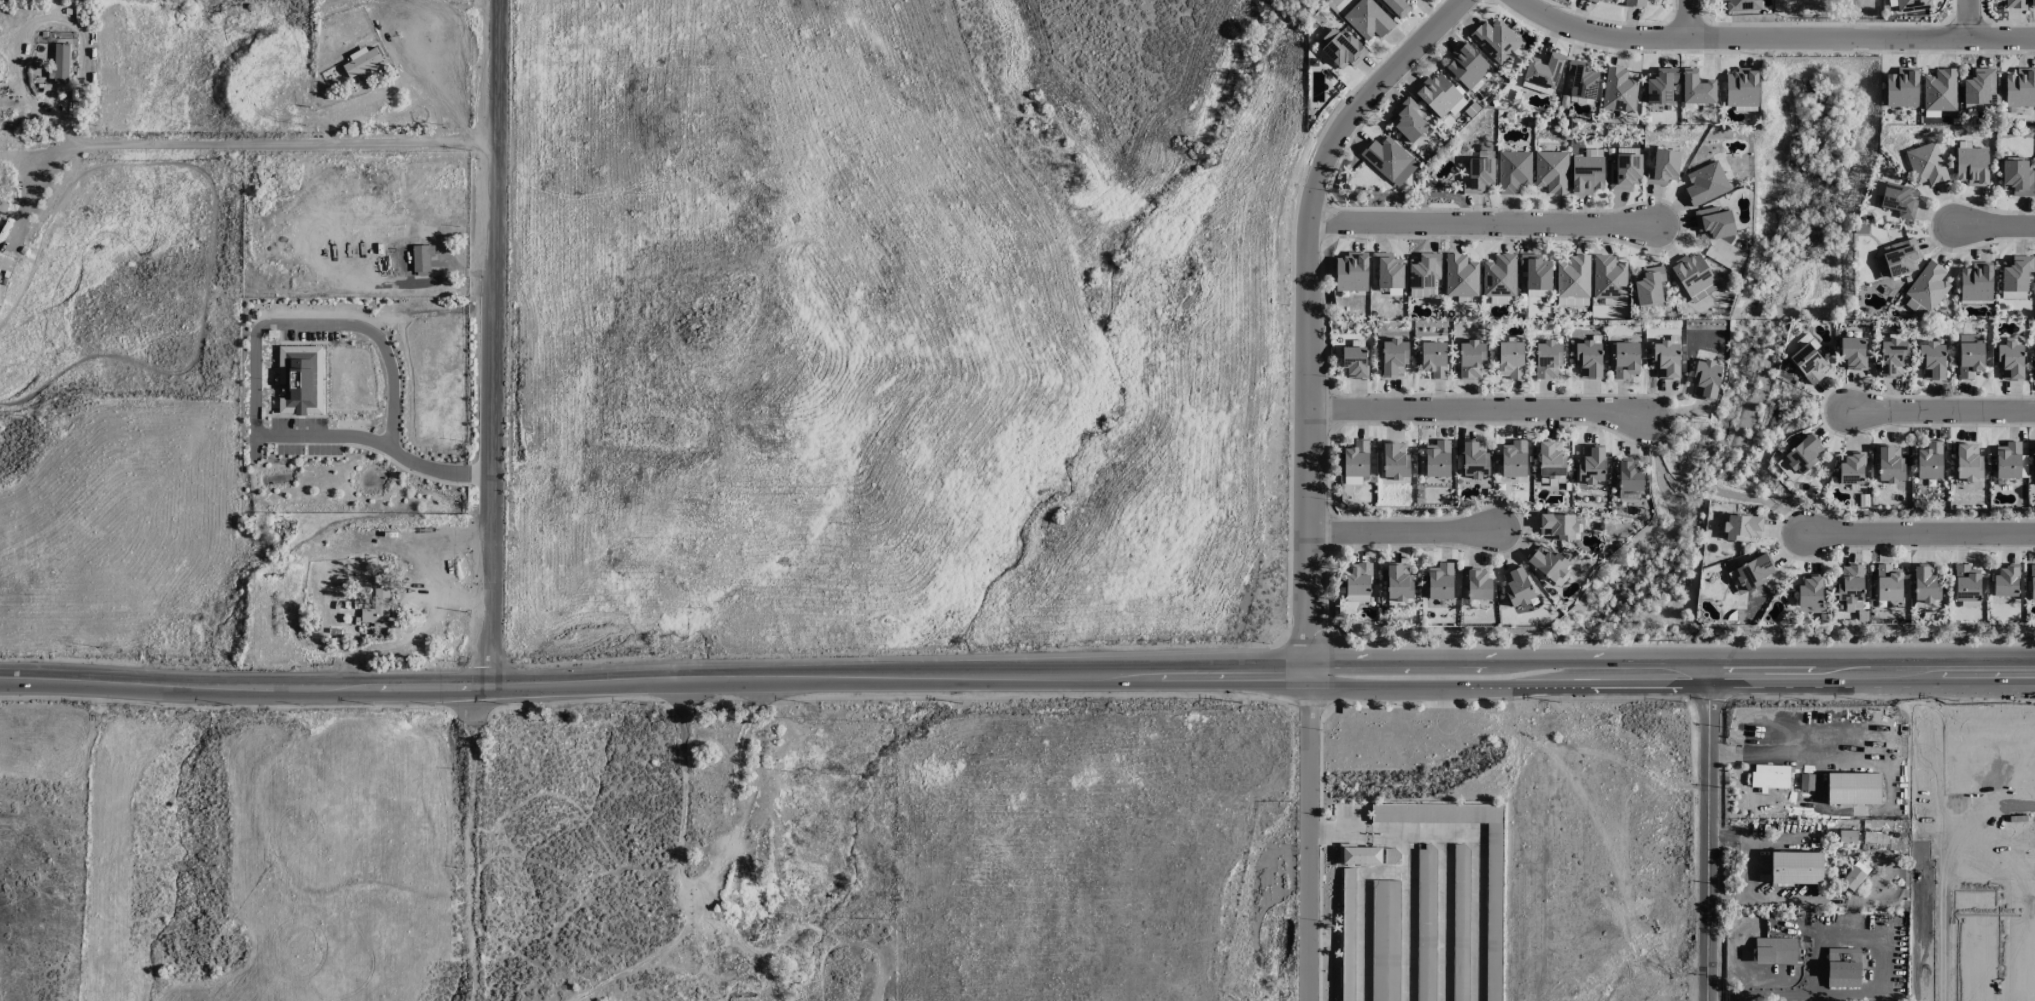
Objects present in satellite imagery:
building: (1593, 0)
building: (1608, 0)
building: (1637, 3)
building: (2015, 4)
building: (2032, 4)
building: (1742, 5)
building: (1912, 5)
building: (1397, 7)
building: (1368, 19)
road: (1689, 19)
road: (1969, 19)
road: (1769, 38)
building: (1496, 40)
building: (1341, 48)
building: (362, 61)
building: (61, 62)
building: (1542, 73)
building: (1582, 80)
building: (1660, 85)
building: (1979, 86)
building: (1741, 87)
building: (1902, 87)
building: (1696, 88)
building: (2020, 88)
building: (1619, 90)
building: (1940, 90)
building: (1437, 94)
building: (1457, 106)
building: (1408, 120)
road: (268, 147)
building: (1389, 160)
building: (1926, 164)
building: (1972, 166)
building: (1663, 167)
building: (1514, 171)
building: (1552, 171)
building: (1625, 171)
building: (1587, 172)
building: (1478, 175)
building: (2017, 176)
building: (1705, 183)
road: (37, 194)
building: (1898, 199)
building: (1714, 222)
road: (1479, 224)
road: (2000, 226)
building: (422, 258)
building: (1897, 258)
road: (450, 262)
building: (1388, 270)
building: (1424, 270)
building: (1536, 271)
building: (1352, 272)
building: (2016, 273)
building: (1460, 276)
building: (1500, 276)
building: (1694, 276)
building: (0, 277)
building: (1573, 277)
building: (1609, 277)
building: (1976, 282)
building: (1649, 286)
building: (1928, 286)
building: (1538, 293)
building: (2013, 295)
building: (1572, 301)
building: (1916, 308)
road: (429, 312)
road: (311, 324)
road: (498, 345)
building: (1853, 352)
building: (1892, 355)
building: (1970, 355)
building: (1394, 357)
building: (1471, 358)
building: (1433, 359)
building: (1547, 359)
building: (1588, 359)
building: (1625, 359)
building: (1666, 359)
building: (1511, 360)
building: (1931, 360)
building: (1354, 361)
building: (2010, 361)
building: (1808, 362)
building: (1705, 379)
building: (299, 380)
road: (1477, 410)
road: (1945, 412)
building: (1799, 457)
building: (2034, 457)
building: (1356, 458)
building: (1474, 458)
building: (1514, 458)
building: (1551, 458)
building: (1437, 459)
building: (1930, 460)
building: (2008, 460)
building: (1395, 461)
building: (1968, 462)
building: (1890, 464)
building: (1591, 465)
building: (1851, 468)
road: (1309, 473)
building: (1629, 475)
building: (1552, 480)
building: (1557, 526)
building: (1742, 527)
road: (1403, 532)
road: (1923, 535)
building: (1548, 562)
building: (1752, 573)
building: (1358, 579)
building: (1440, 581)
building: (2005, 581)
building: (2031, 581)
building: (1399, 582)
building: (1888, 583)
building: (1925, 583)
building: (1966, 583)
building: (1478, 585)
building: (1516, 586)
building: (1850, 587)
building: (1809, 591)
building: (377, 609)
road: (1017, 665)
road: (1017, 684)
road: (1885, 759)
building: (1770, 777)
building: (1853, 788)
road: (1717, 829)
road: (1357, 830)
building: (1847, 837)
building: (1359, 855)
building: (1796, 867)
building: (1855, 875)
road: (1476, 880)
road: (1360, 891)
road: (1442, 915)
road: (1406, 936)
building: (1775, 950)
building: (1843, 967)
road: (1876, 980)

